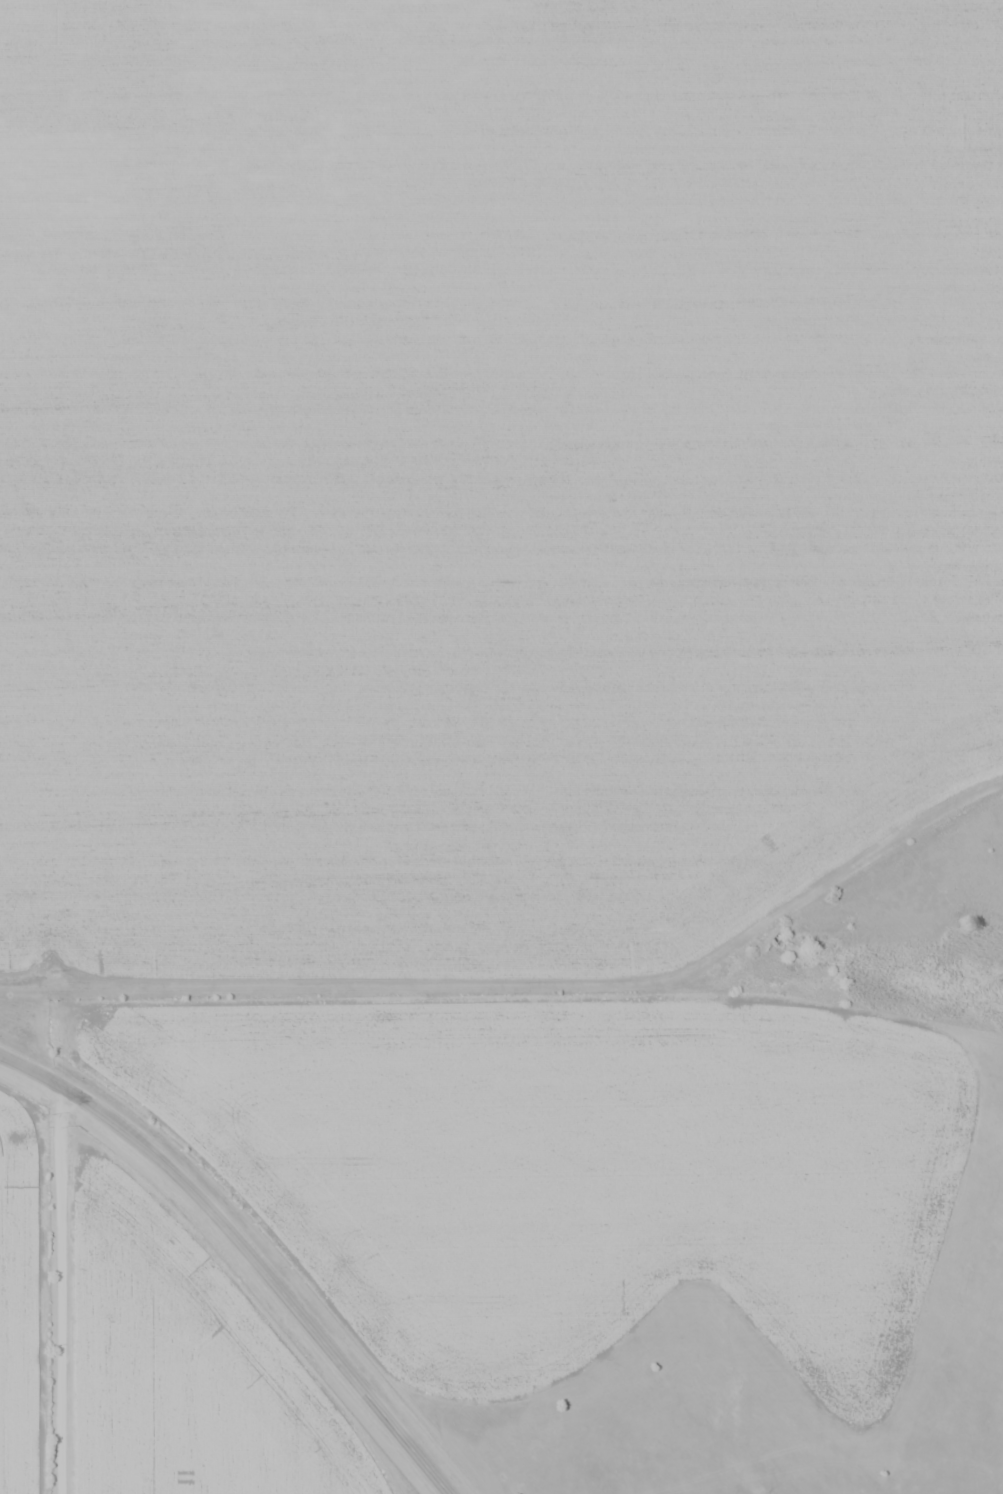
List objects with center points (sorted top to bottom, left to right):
road: (245, 1249)
road: (63, 1290)

